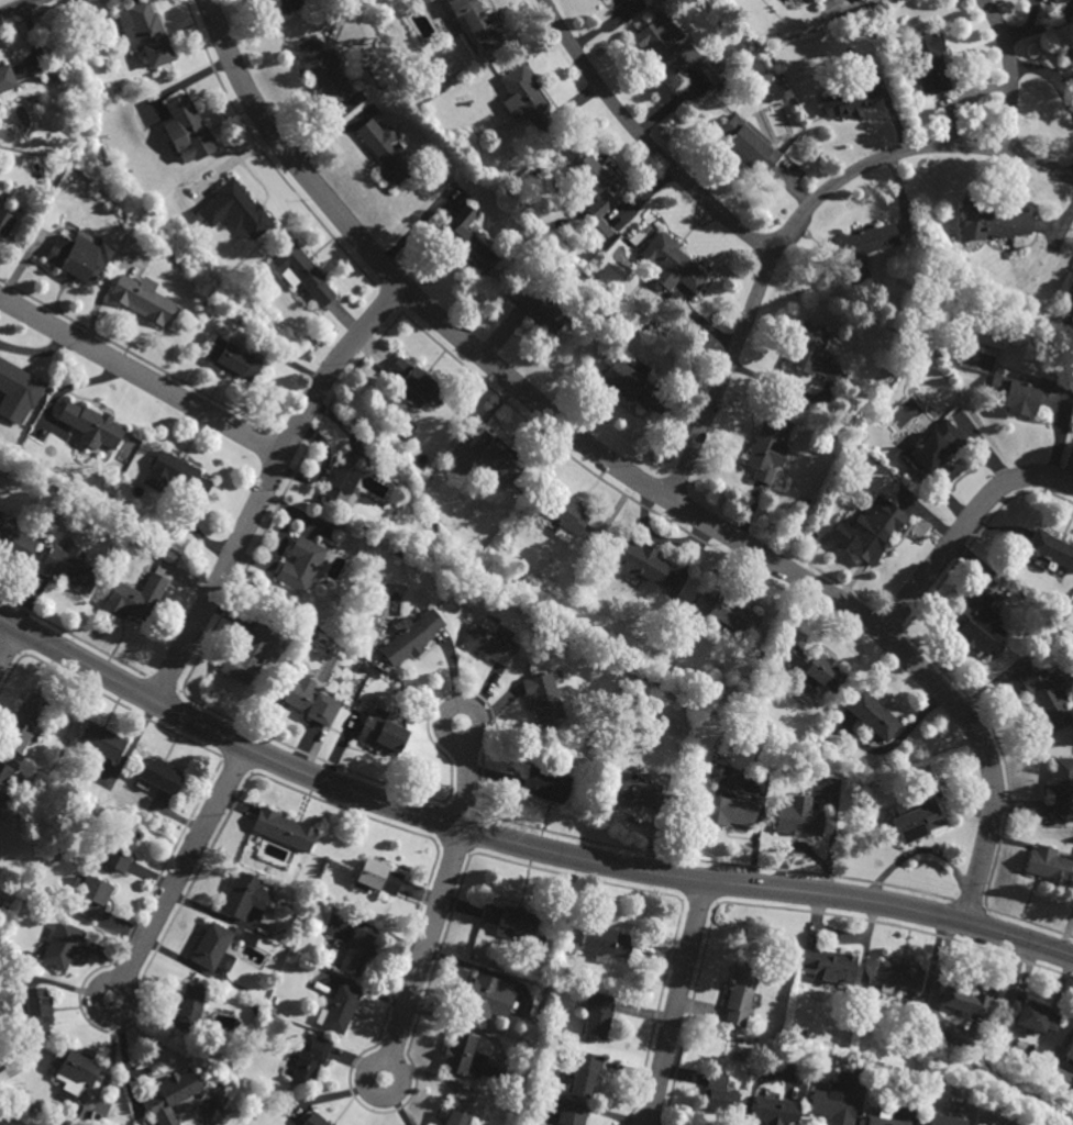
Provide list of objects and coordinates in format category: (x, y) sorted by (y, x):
building: (862, 0)
building: (1054, 0)
building: (423, 1)
building: (286, 5)
road: (18, 7)
building: (472, 21)
building: (142, 32)
building: (665, 43)
building: (1066, 53)
building: (928, 59)
building: (1072, 67)
building: (320, 68)
building: (710, 70)
road: (1013, 71)
road: (1050, 75)
building: (5, 77)
building: (848, 99)
building: (522, 100)
building: (185, 129)
road: (645, 138)
building: (746, 144)
building: (385, 152)
building: (589, 193)
building: (241, 208)
building: (991, 220)
road: (795, 221)
building: (4, 223)
building: (455, 242)
building: (860, 248)
building: (77, 258)
building: (670, 265)
building: (303, 274)
building: (139, 298)
building: (536, 313)
building: (811, 356)
building: (967, 357)
building: (231, 359)
road: (141, 377)
building: (413, 383)
building: (627, 385)
building: (18, 390)
building: (1022, 394)
building: (91, 424)
building: (766, 444)
building: (930, 447)
building: (494, 456)
road: (624, 471)
building: (180, 472)
building: (342, 477)
road: (267, 486)
building: (560, 509)
road: (963, 526)
building: (874, 531)
building: (14, 538)
building: (1050, 547)
building: (396, 549)
building: (638, 559)
building: (300, 562)
building: (67, 566)
building: (451, 583)
building: (133, 597)
building: (723, 609)
building: (977, 622)
building: (410, 635)
building: (489, 641)
road: (10, 644)
building: (248, 651)
building: (651, 657)
building: (359, 666)
building: (814, 667)
building: (543, 697)
building: (1047, 698)
building: (310, 700)
building: (871, 715)
building: (22, 722)
road: (442, 729)
building: (380, 731)
building: (99, 740)
building: (799, 756)
building: (158, 773)
building: (4, 776)
building: (678, 777)
building: (545, 783)
road: (465, 786)
building: (1062, 786)
building: (643, 795)
building: (724, 810)
building: (796, 817)
building: (912, 818)
building: (283, 828)
road: (517, 844)
building: (117, 846)
road: (185, 864)
building: (1049, 867)
building: (375, 876)
building: (243, 895)
building: (89, 896)
building: (22, 902)
building: (506, 920)
building: (310, 924)
building: (538, 938)
building: (283, 939)
building: (601, 943)
building: (60, 945)
road: (428, 945)
building: (212, 947)
building: (281, 948)
building: (353, 954)
building: (289, 957)
building: (826, 965)
building: (896, 976)
building: (738, 993)
building: (485, 999)
building: (967, 999)
road: (677, 1002)
road: (131, 1005)
building: (187, 1009)
building: (272, 1009)
building: (339, 1009)
building: (33, 1010)
building: (594, 1014)
building: (1030, 1016)
building: (527, 1037)
building: (753, 1039)
building: (526, 1046)
building: (245, 1047)
building: (1069, 1050)
building: (462, 1056)
building: (309, 1060)
building: (73, 1069)
building: (580, 1071)
road: (402, 1076)
building: (717, 1093)
building: (169, 1096)
building: (54, 1104)
building: (831, 1104)
building: (774, 1110)
building: (569, 1116)
building: (454, 1117)
building: (881, 1118)
building: (944, 1118)
building: (314, 1120)
building: (999, 1124)

